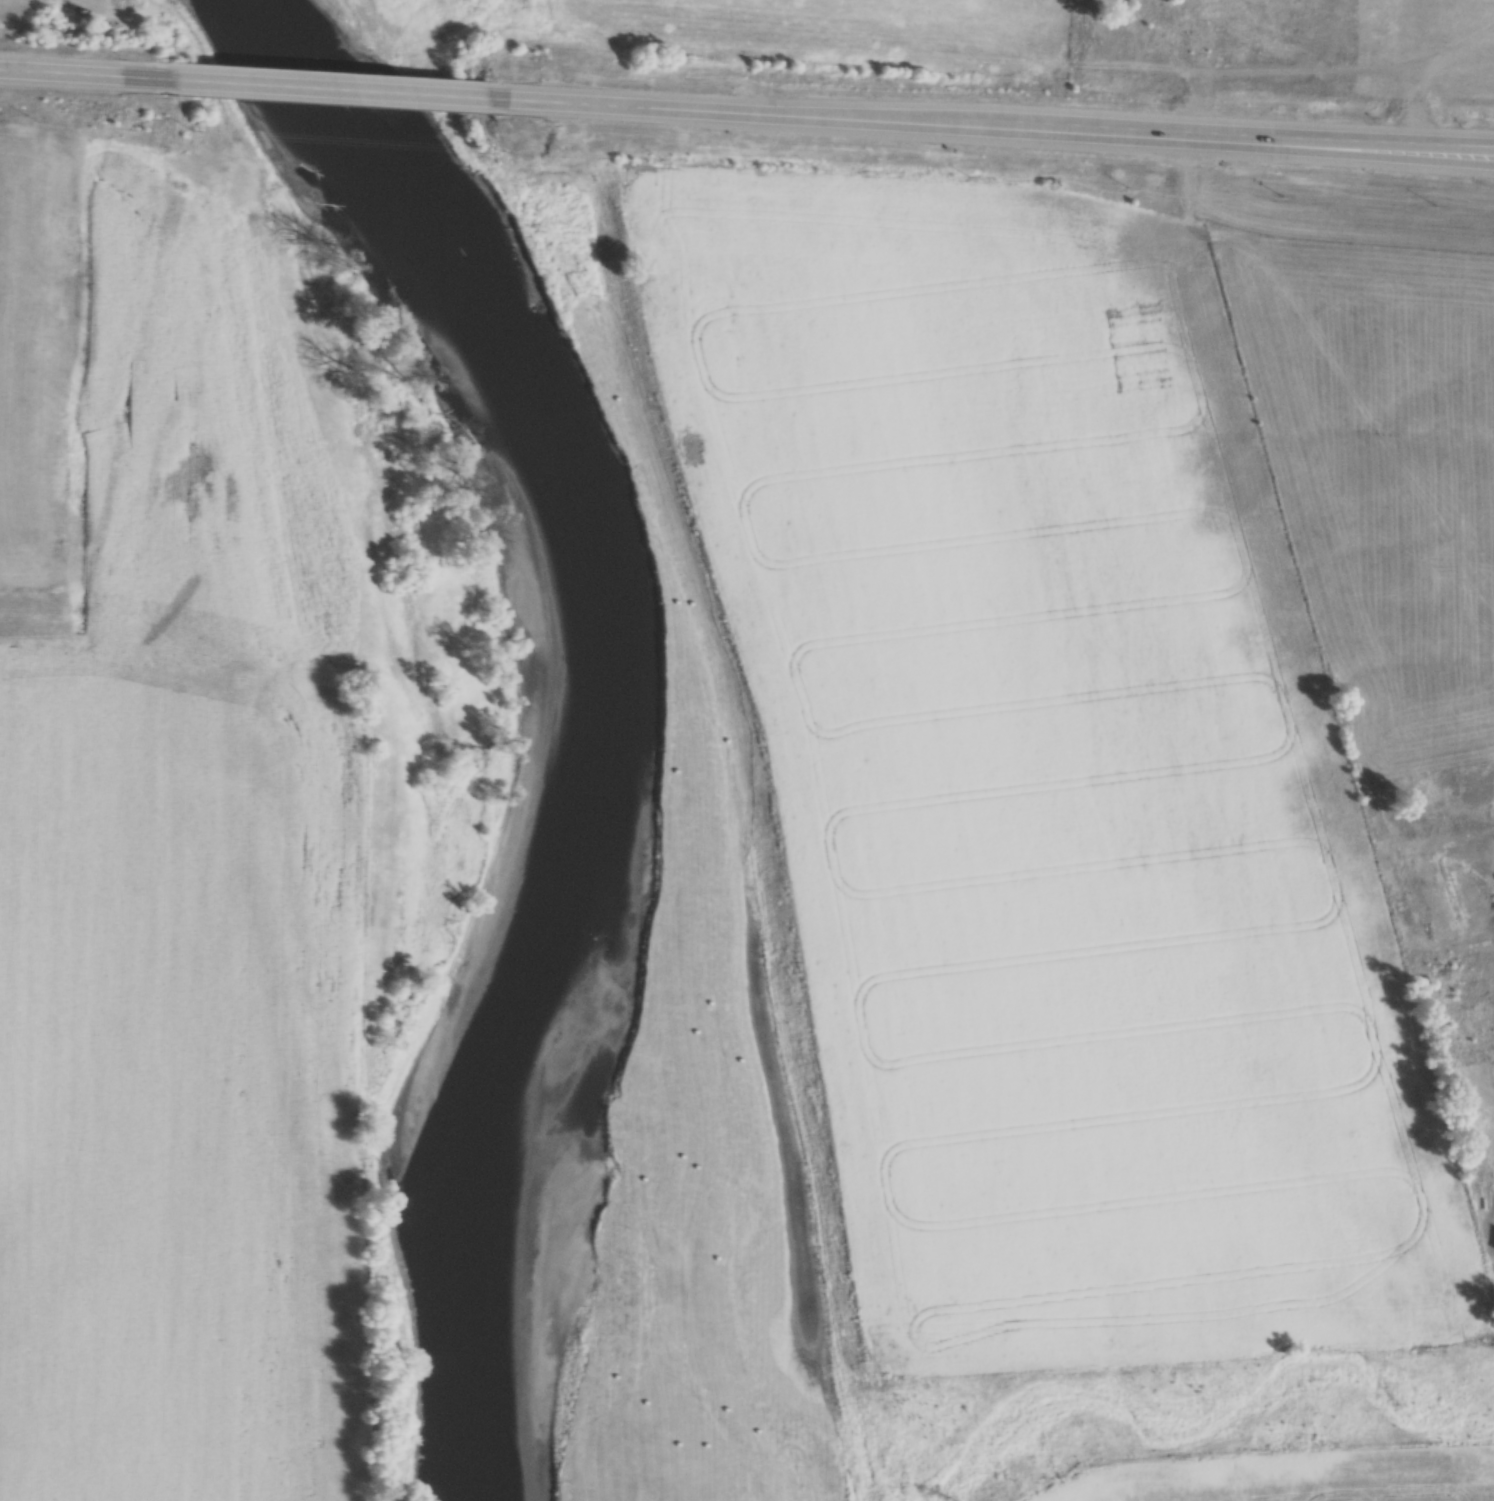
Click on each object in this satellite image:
road: (75, 75)
road: (332, 91)
road: (741, 115)
road: (1231, 144)
road: (1477, 156)
river: (587, 712)
crop: (1047, 779)
crop: (176, 1093)
crop: (1292, 1477)

